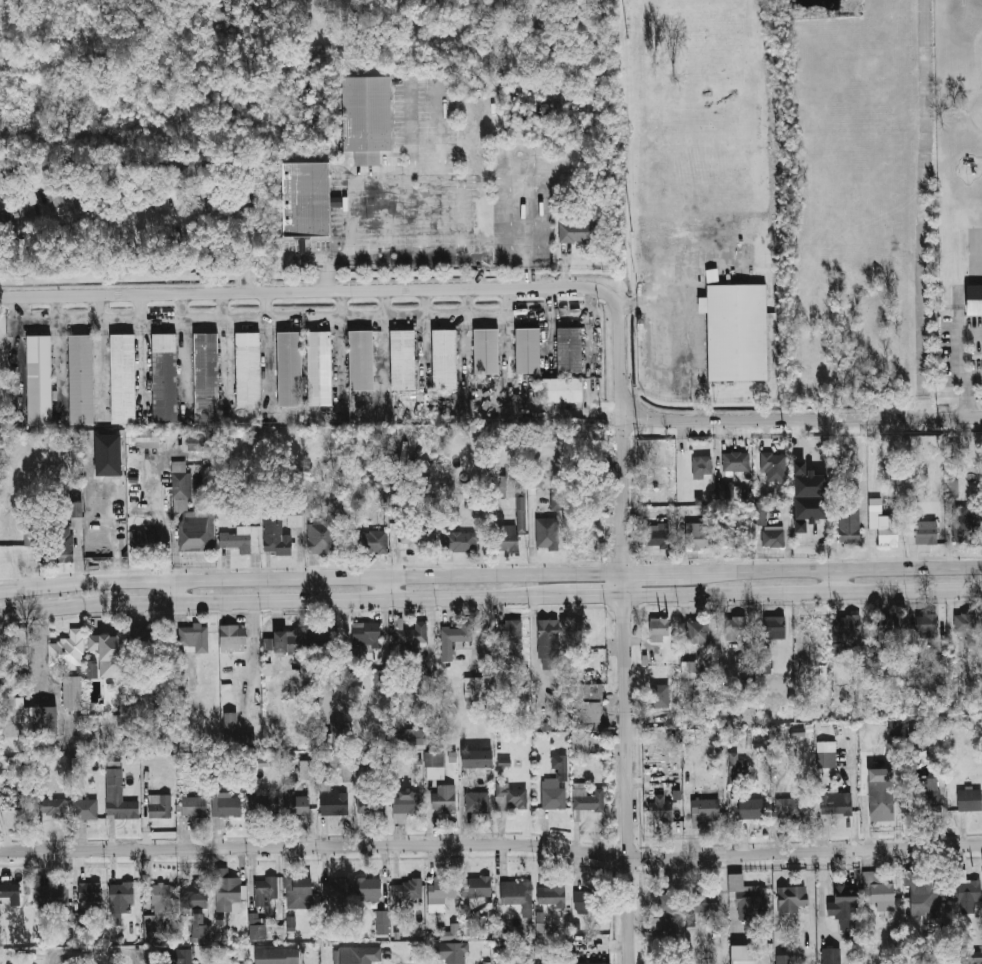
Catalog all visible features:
building: (365, 112)
building: (367, 157)
building: (24, 182)
building: (171, 184)
parking lot: (407, 187)
building: (52, 189)
building: (306, 199)
road: (925, 208)
road: (171, 216)
parking lot: (528, 224)
building: (574, 231)
building: (221, 254)
building: (103, 255)
road: (402, 257)
road: (371, 289)
building: (973, 299)
road: (959, 311)
building: (738, 332)
building: (528, 349)
building: (569, 349)
road: (959, 349)
building: (485, 350)
building: (443, 358)
building: (402, 359)
building: (360, 360)
building: (290, 368)
building: (319, 368)
building: (248, 369)
road: (975, 375)
building: (207, 377)
building: (166, 379)
building: (41, 380)
building: (82, 380)
building: (125, 380)
building: (560, 390)
road: (968, 396)
road: (803, 418)
building: (145, 439)
building: (197, 442)
building: (110, 456)
building: (736, 461)
building: (773, 463)
building: (798, 466)
building: (702, 467)
building: (497, 483)
building: (809, 484)
building: (180, 485)
building: (953, 488)
building: (556, 502)
building: (478, 504)
building: (520, 506)
building: (810, 507)
building: (759, 513)
building: (75, 514)
building: (294, 520)
road: (163, 522)
building: (884, 523)
building: (799, 525)
building: (965, 525)
building: (849, 527)
building: (197, 531)
building: (925, 532)
building: (547, 533)
building: (657, 534)
building: (275, 536)
building: (411, 536)
building: (322, 537)
building: (696, 537)
building: (28, 538)
building: (733, 538)
building: (772, 538)
building: (238, 540)
building: (147, 541)
building: (373, 541)
building: (459, 541)
building: (65, 545)
road: (851, 568)
road: (674, 573)
road: (313, 577)
road: (837, 580)
road: (389, 587)
road: (173, 591)
road: (804, 592)
road: (533, 595)
road: (595, 595)
road: (250, 600)
road: (491, 606)
road: (611, 622)
building: (926, 625)
building: (965, 625)
building: (736, 626)
building: (774, 627)
building: (658, 629)
building: (813, 630)
building: (850, 630)
building: (886, 630)
building: (510, 631)
building: (698, 631)
building: (366, 633)
building: (326, 635)
building: (234, 636)
building: (143, 638)
building: (194, 639)
building: (411, 639)
building: (289, 641)
building: (548, 643)
building: (452, 645)
building: (67, 652)
building: (112, 654)
building: (764, 661)
building: (91, 669)
building: (688, 669)
building: (900, 671)
building: (379, 677)
building: (477, 688)
road: (627, 692)
building: (75, 694)
building: (660, 695)
building: (587, 703)
building: (29, 720)
building: (235, 732)
building: (411, 736)
building: (321, 739)
building: (580, 744)
building: (826, 754)
building: (433, 758)
building: (475, 759)
building: (737, 763)
building: (306, 769)
building: (553, 793)
building: (25, 795)
building: (882, 796)
building: (924, 796)
building: (120, 798)
building: (444, 798)
building: (511, 799)
building: (588, 799)
building: (969, 800)
building: (333, 801)
building: (407, 802)
building: (264, 803)
building: (371, 803)
building: (477, 803)
building: (836, 803)
building: (298, 805)
building: (230, 806)
building: (195, 807)
building: (790, 807)
building: (52, 808)
building: (160, 808)
building: (86, 809)
building: (751, 809)
building: (705, 810)
building: (662, 811)
road: (491, 845)
building: (476, 887)
building: (267, 888)
building: (441, 888)
building: (229, 889)
building: (369, 889)
building: (407, 889)
building: (876, 889)
building: (10, 891)
building: (969, 891)
building: (300, 892)
building: (336, 892)
building: (91, 894)
building: (194, 894)
building: (53, 895)
building: (517, 895)
building: (123, 896)
building: (748, 896)
building: (928, 896)
building: (552, 897)
building: (586, 899)
building: (791, 899)
building: (705, 901)
building: (847, 902)
building: (157, 912)
building: (665, 913)
building: (80, 920)
building: (382, 922)
building: (200, 927)
building: (475, 927)
building: (259, 932)
building: (451, 932)
road: (92, 949)
building: (451, 952)
building: (280, 953)
building: (360, 954)
building: (743, 954)
building: (830, 955)
building: (180, 956)
building: (975, 956)
building: (785, 959)
building: (74, 960)
building: (603, 963)

